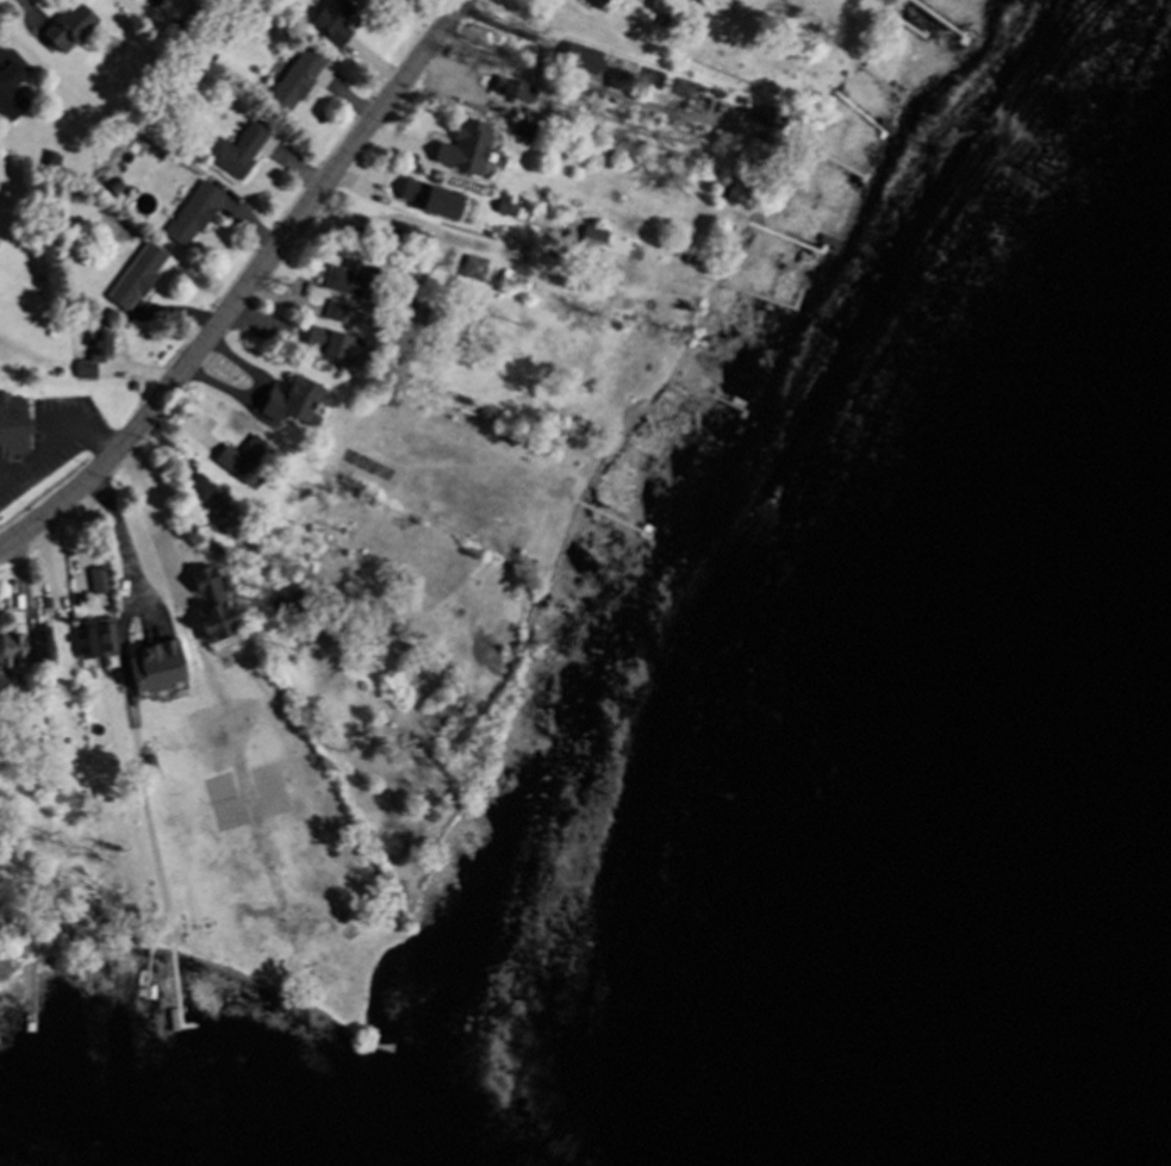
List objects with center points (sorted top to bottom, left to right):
building: (334, 23)
building: (70, 29)
road: (606, 60)
building: (578, 62)
building: (297, 81)
building: (519, 92)
building: (12, 94)
building: (467, 151)
building: (241, 152)
building: (432, 201)
building: (195, 217)
building: (138, 279)
building: (350, 282)
road: (249, 292)
building: (330, 343)
building: (95, 357)
building: (297, 405)
building: (14, 432)
road: (60, 437)
road: (157, 523)
road: (125, 550)
building: (206, 582)
building: (219, 625)
building: (87, 640)
building: (111, 643)
building: (45, 648)
building: (14, 655)
building: (160, 669)

